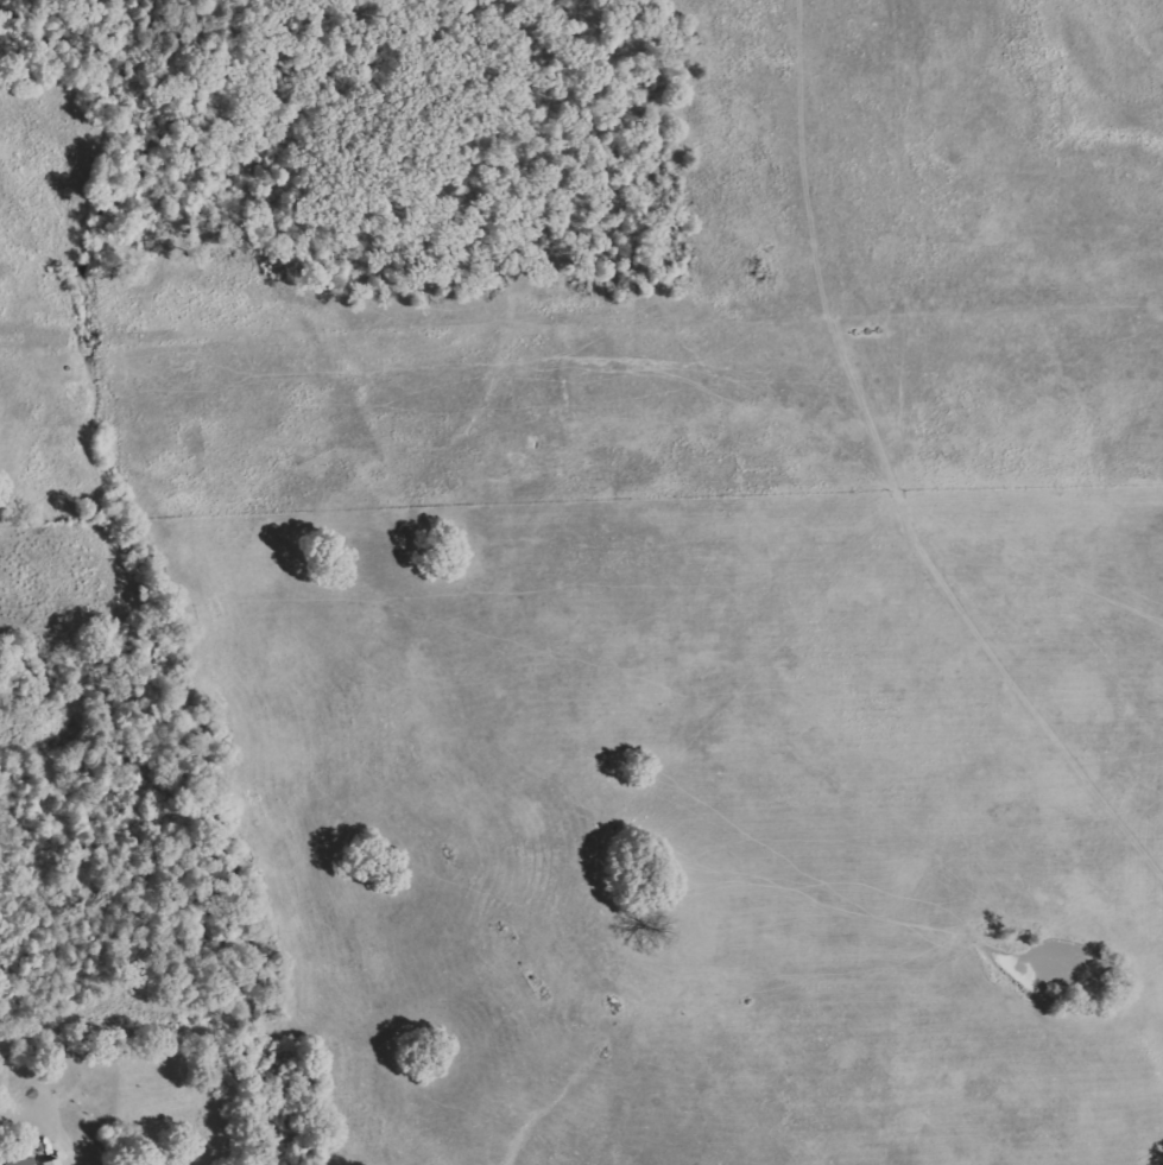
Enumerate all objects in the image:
road: (49, 1129)
building: (50, 1161)

